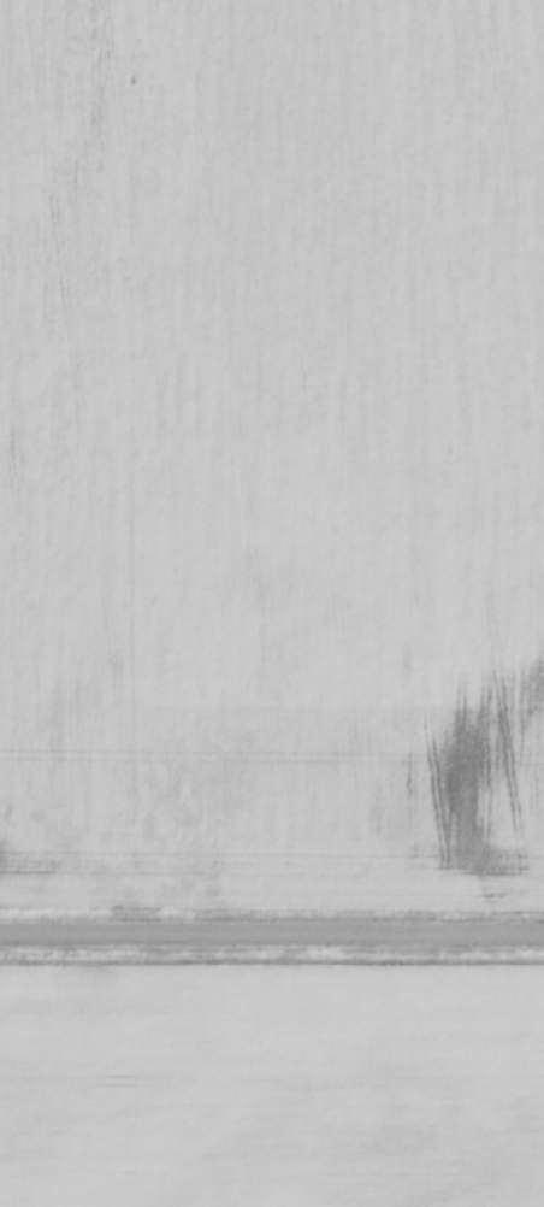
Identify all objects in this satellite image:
road: (272, 935)

